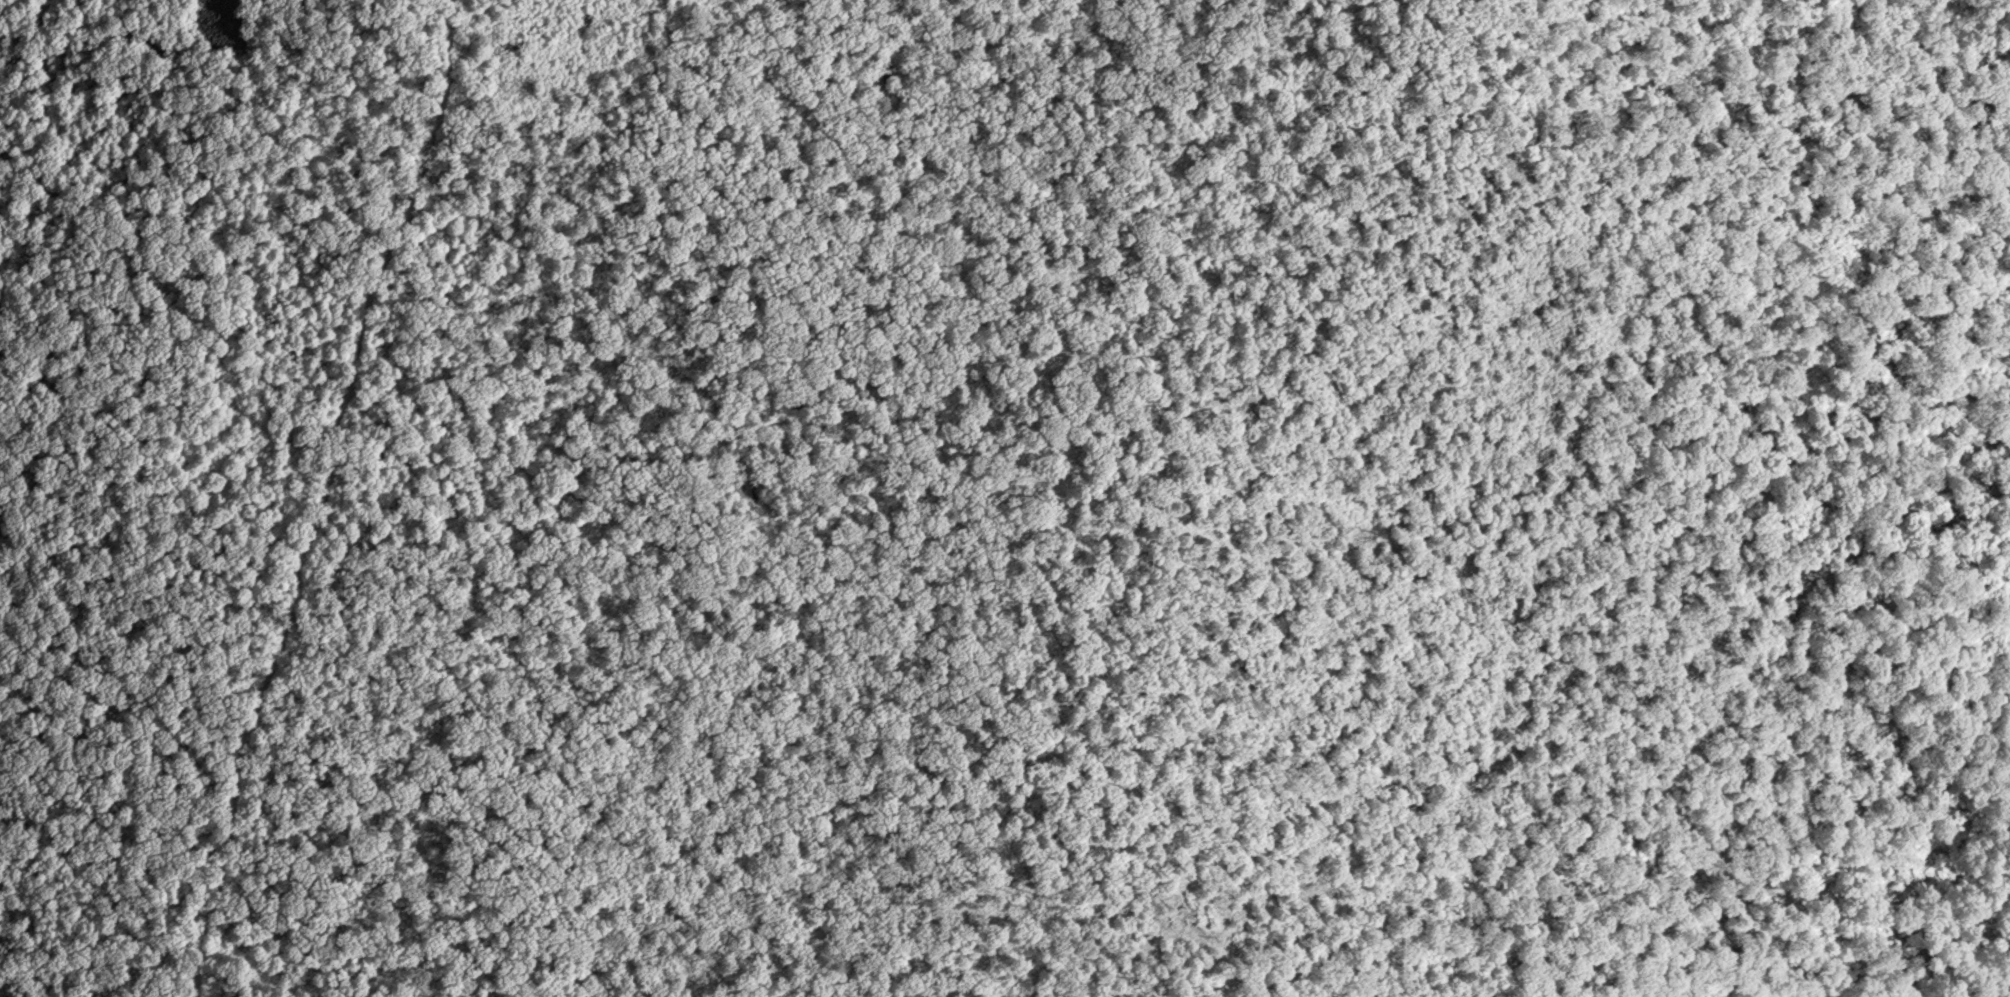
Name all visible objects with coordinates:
road: (320, 495)
road: (1105, 507)

